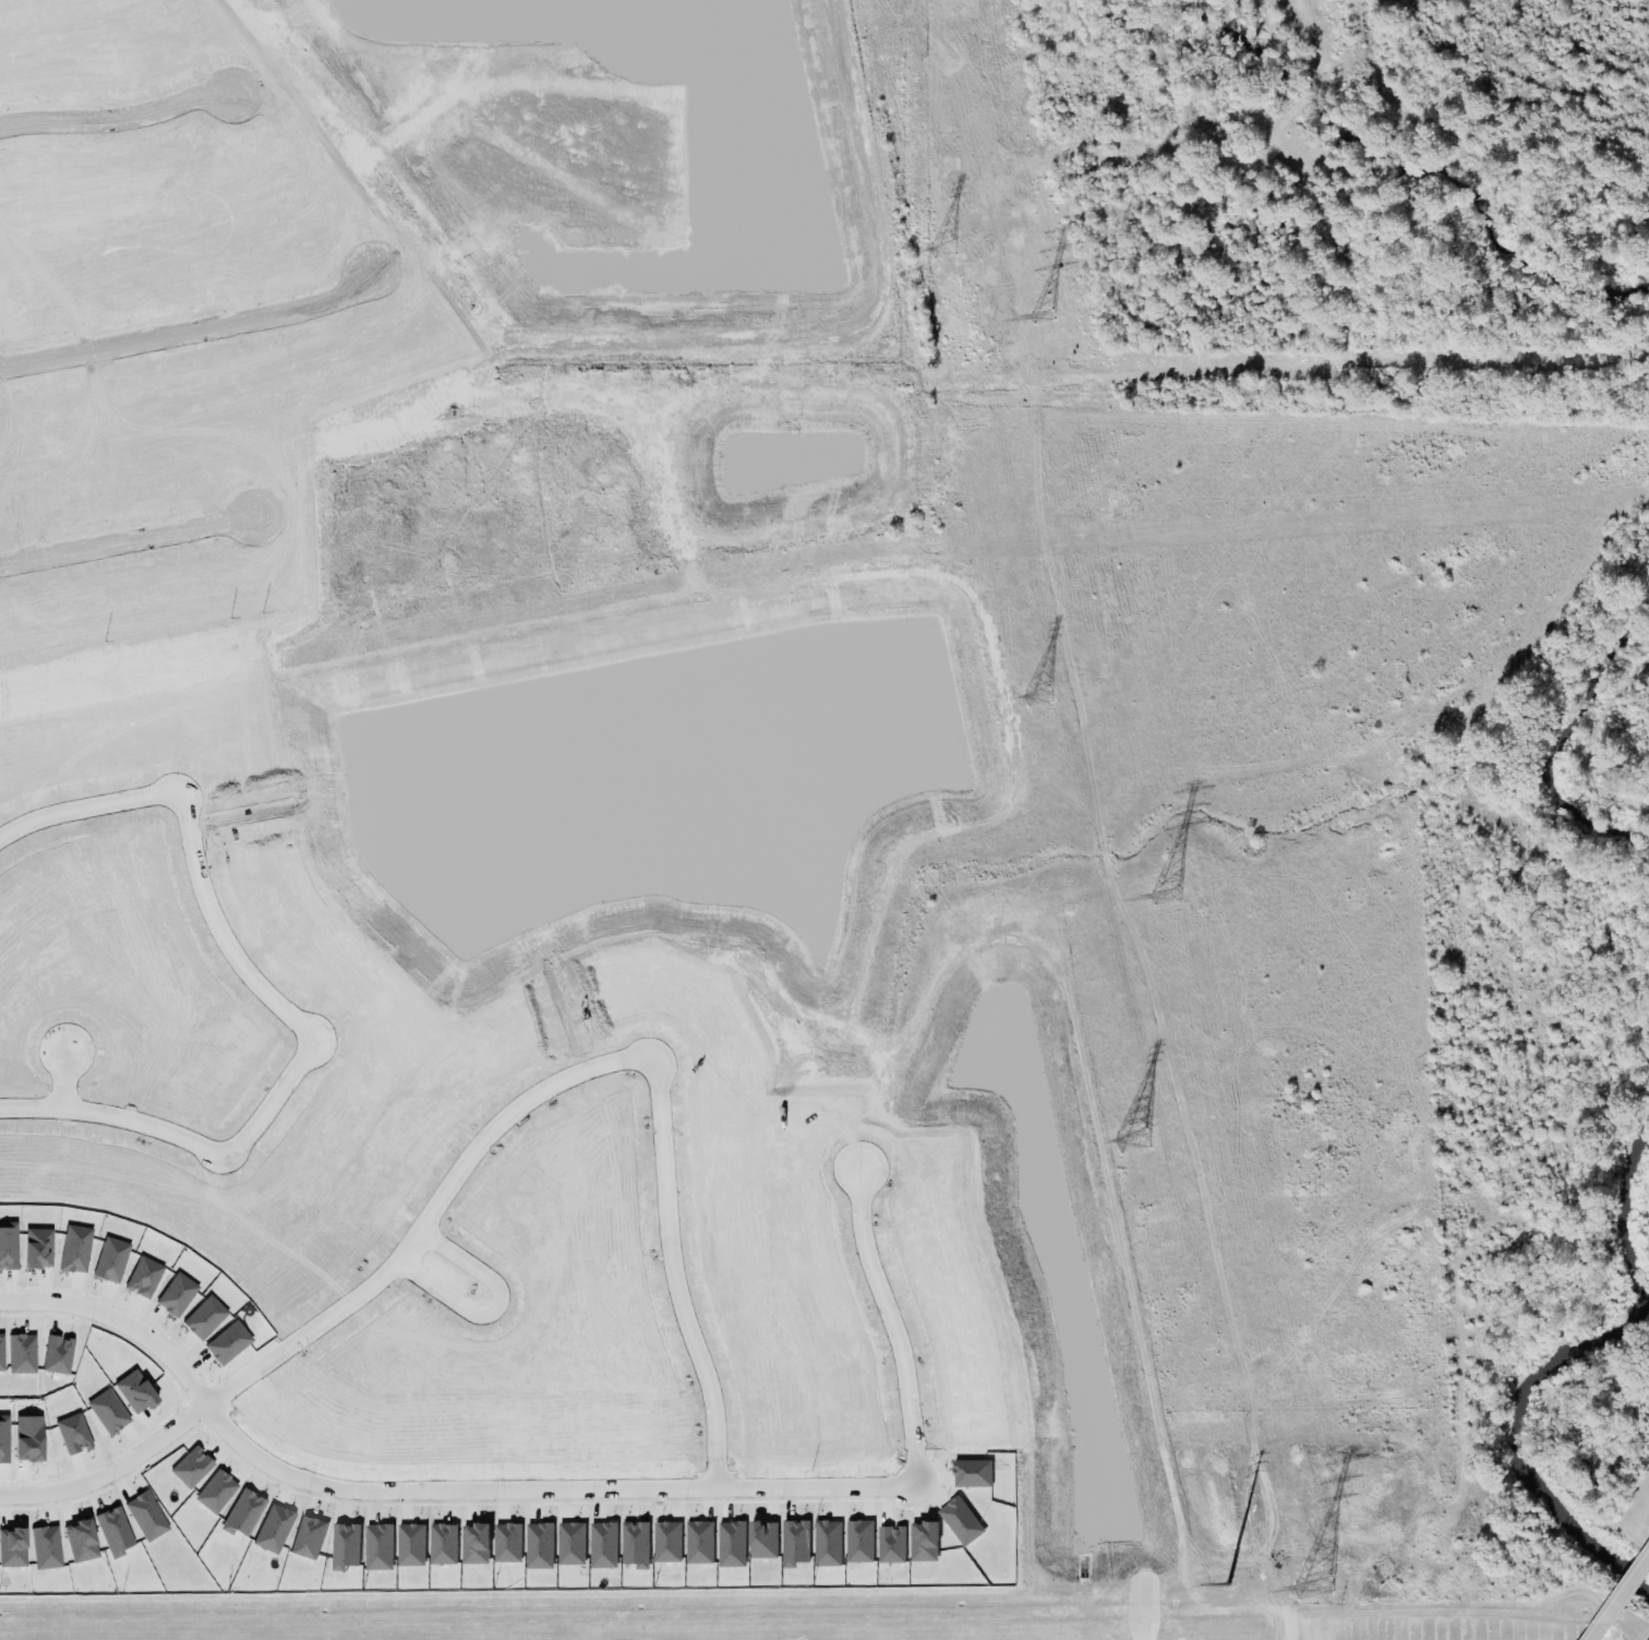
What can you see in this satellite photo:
road: (119, 115)
river: (1351, 147)
power tower: (940, 248)
power tower: (1039, 315)
road: (193, 331)
road: (128, 540)
power tower: (1034, 694)
river: (1578, 732)
road: (171, 800)
power tower: (1161, 897)
road: (580, 1073)
road: (62, 1078)
power tower: (1130, 1138)
road: (232, 1149)
building: (74, 1248)
building: (109, 1260)
building: (142, 1277)
building: (176, 1294)
road: (494, 1308)
building: (203, 1317)
road: (118, 1321)
building: (227, 1342)
river: (1510, 1434)
building: (3, 1439)
building: (27, 1441)
building: (191, 1467)
building: (971, 1473)
building: (215, 1492)
road: (591, 1492)
building: (242, 1513)
building: (145, 1516)
building: (959, 1521)
building: (273, 1529)
building: (113, 1531)
building: (308, 1537)
building: (761, 1540)
building: (80, 1541)
building: (666, 1542)
building: (858, 1542)
building: (923, 1542)
building: (506, 1543)
building: (634, 1543)
building: (698, 1543)
building: (794, 1543)
building: (826, 1543)
building: (442, 1544)
building: (473, 1544)
building: (569, 1544)
building: (730, 1544)
building: (890, 1544)
building: (409, 1545)
building: (602, 1545)
building: (345, 1546)
building: (538, 1546)
building: (12, 1547)
building: (45, 1547)
building: (376, 1547)
power tower: (1223, 1584)
power tower: (1308, 1588)
road: (1614, 1588)

